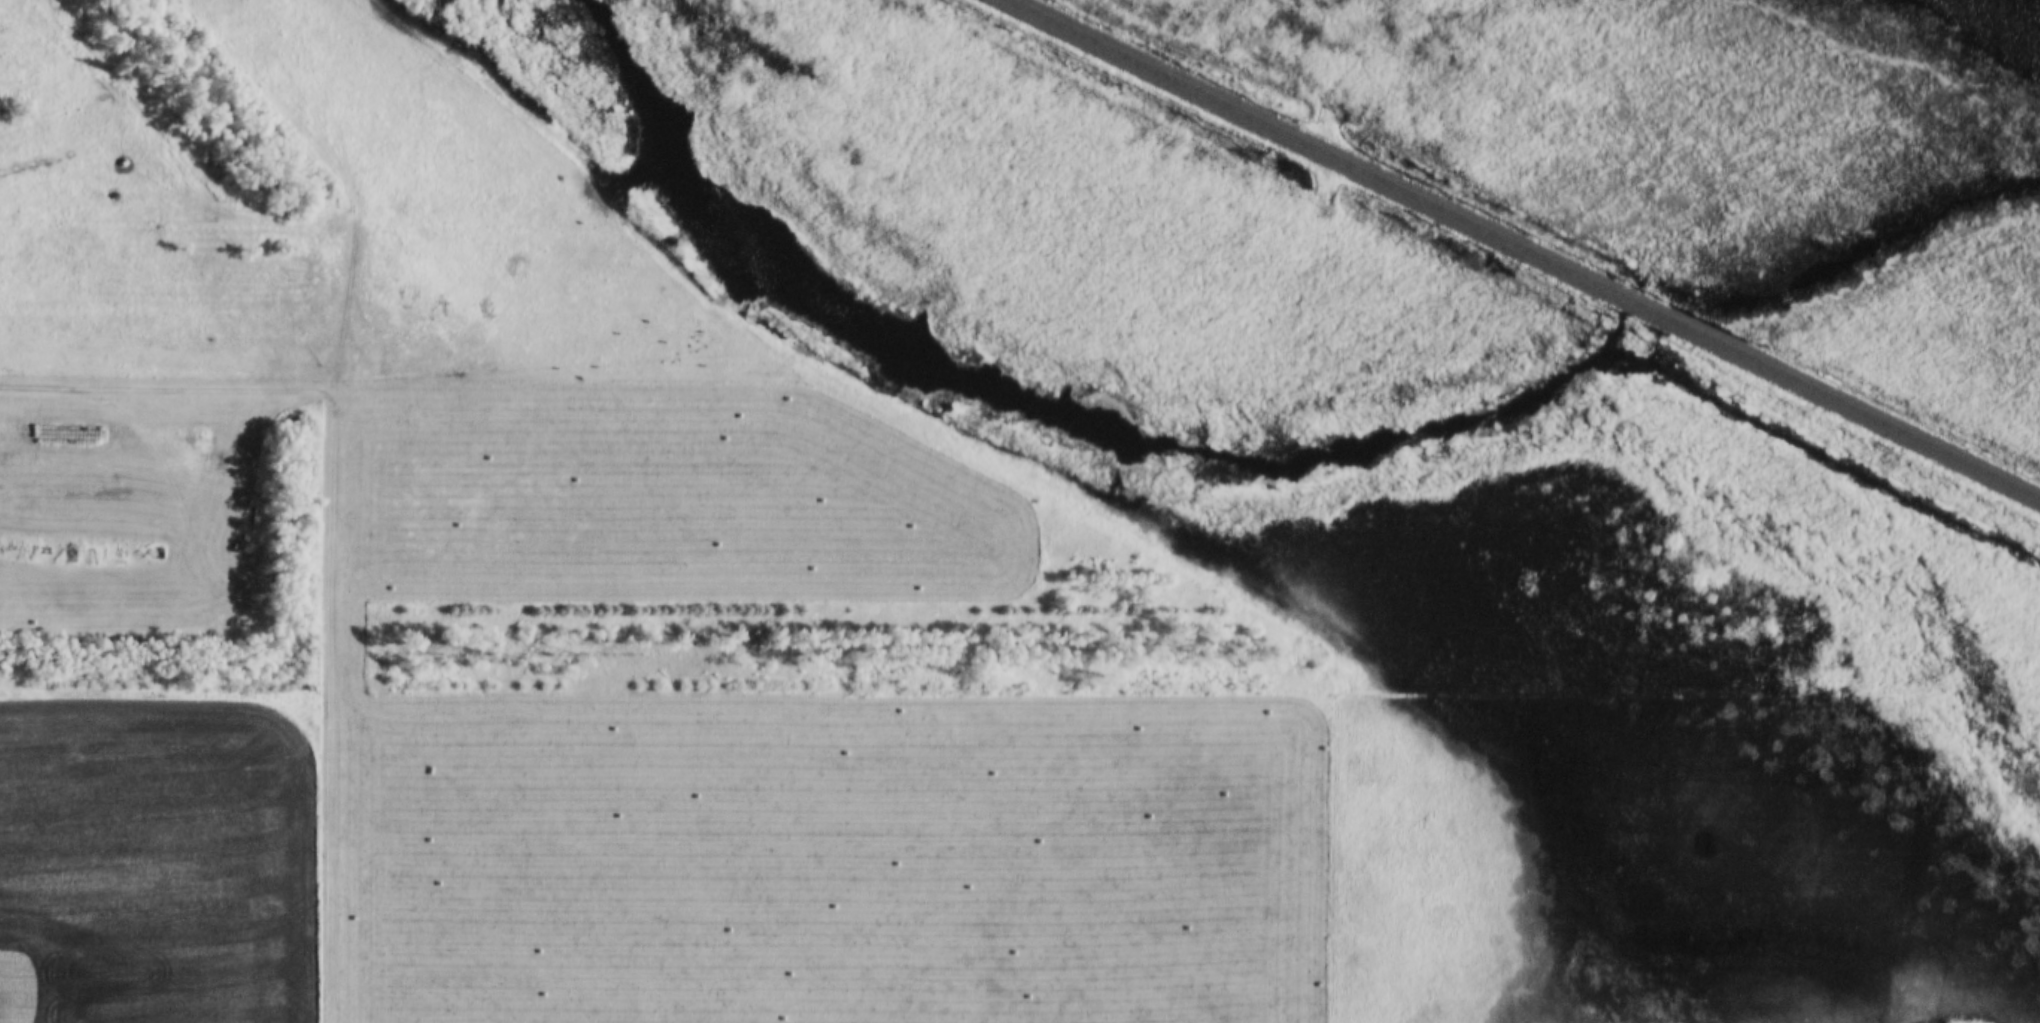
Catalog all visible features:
river: (1862, 242)
railway: (1521, 250)
river: (1679, 325)
river: (1043, 412)
road: (331, 539)

